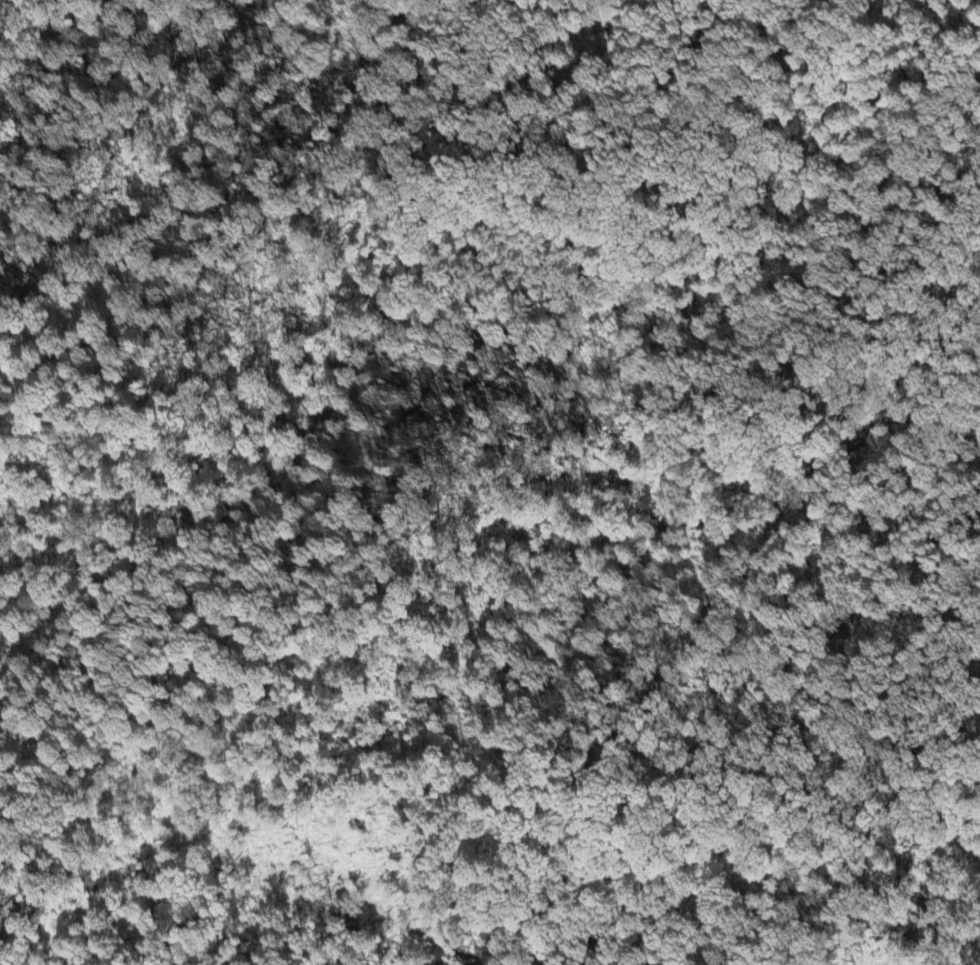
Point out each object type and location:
park: (953, 533)
park: (433, 739)
road: (213, 772)

